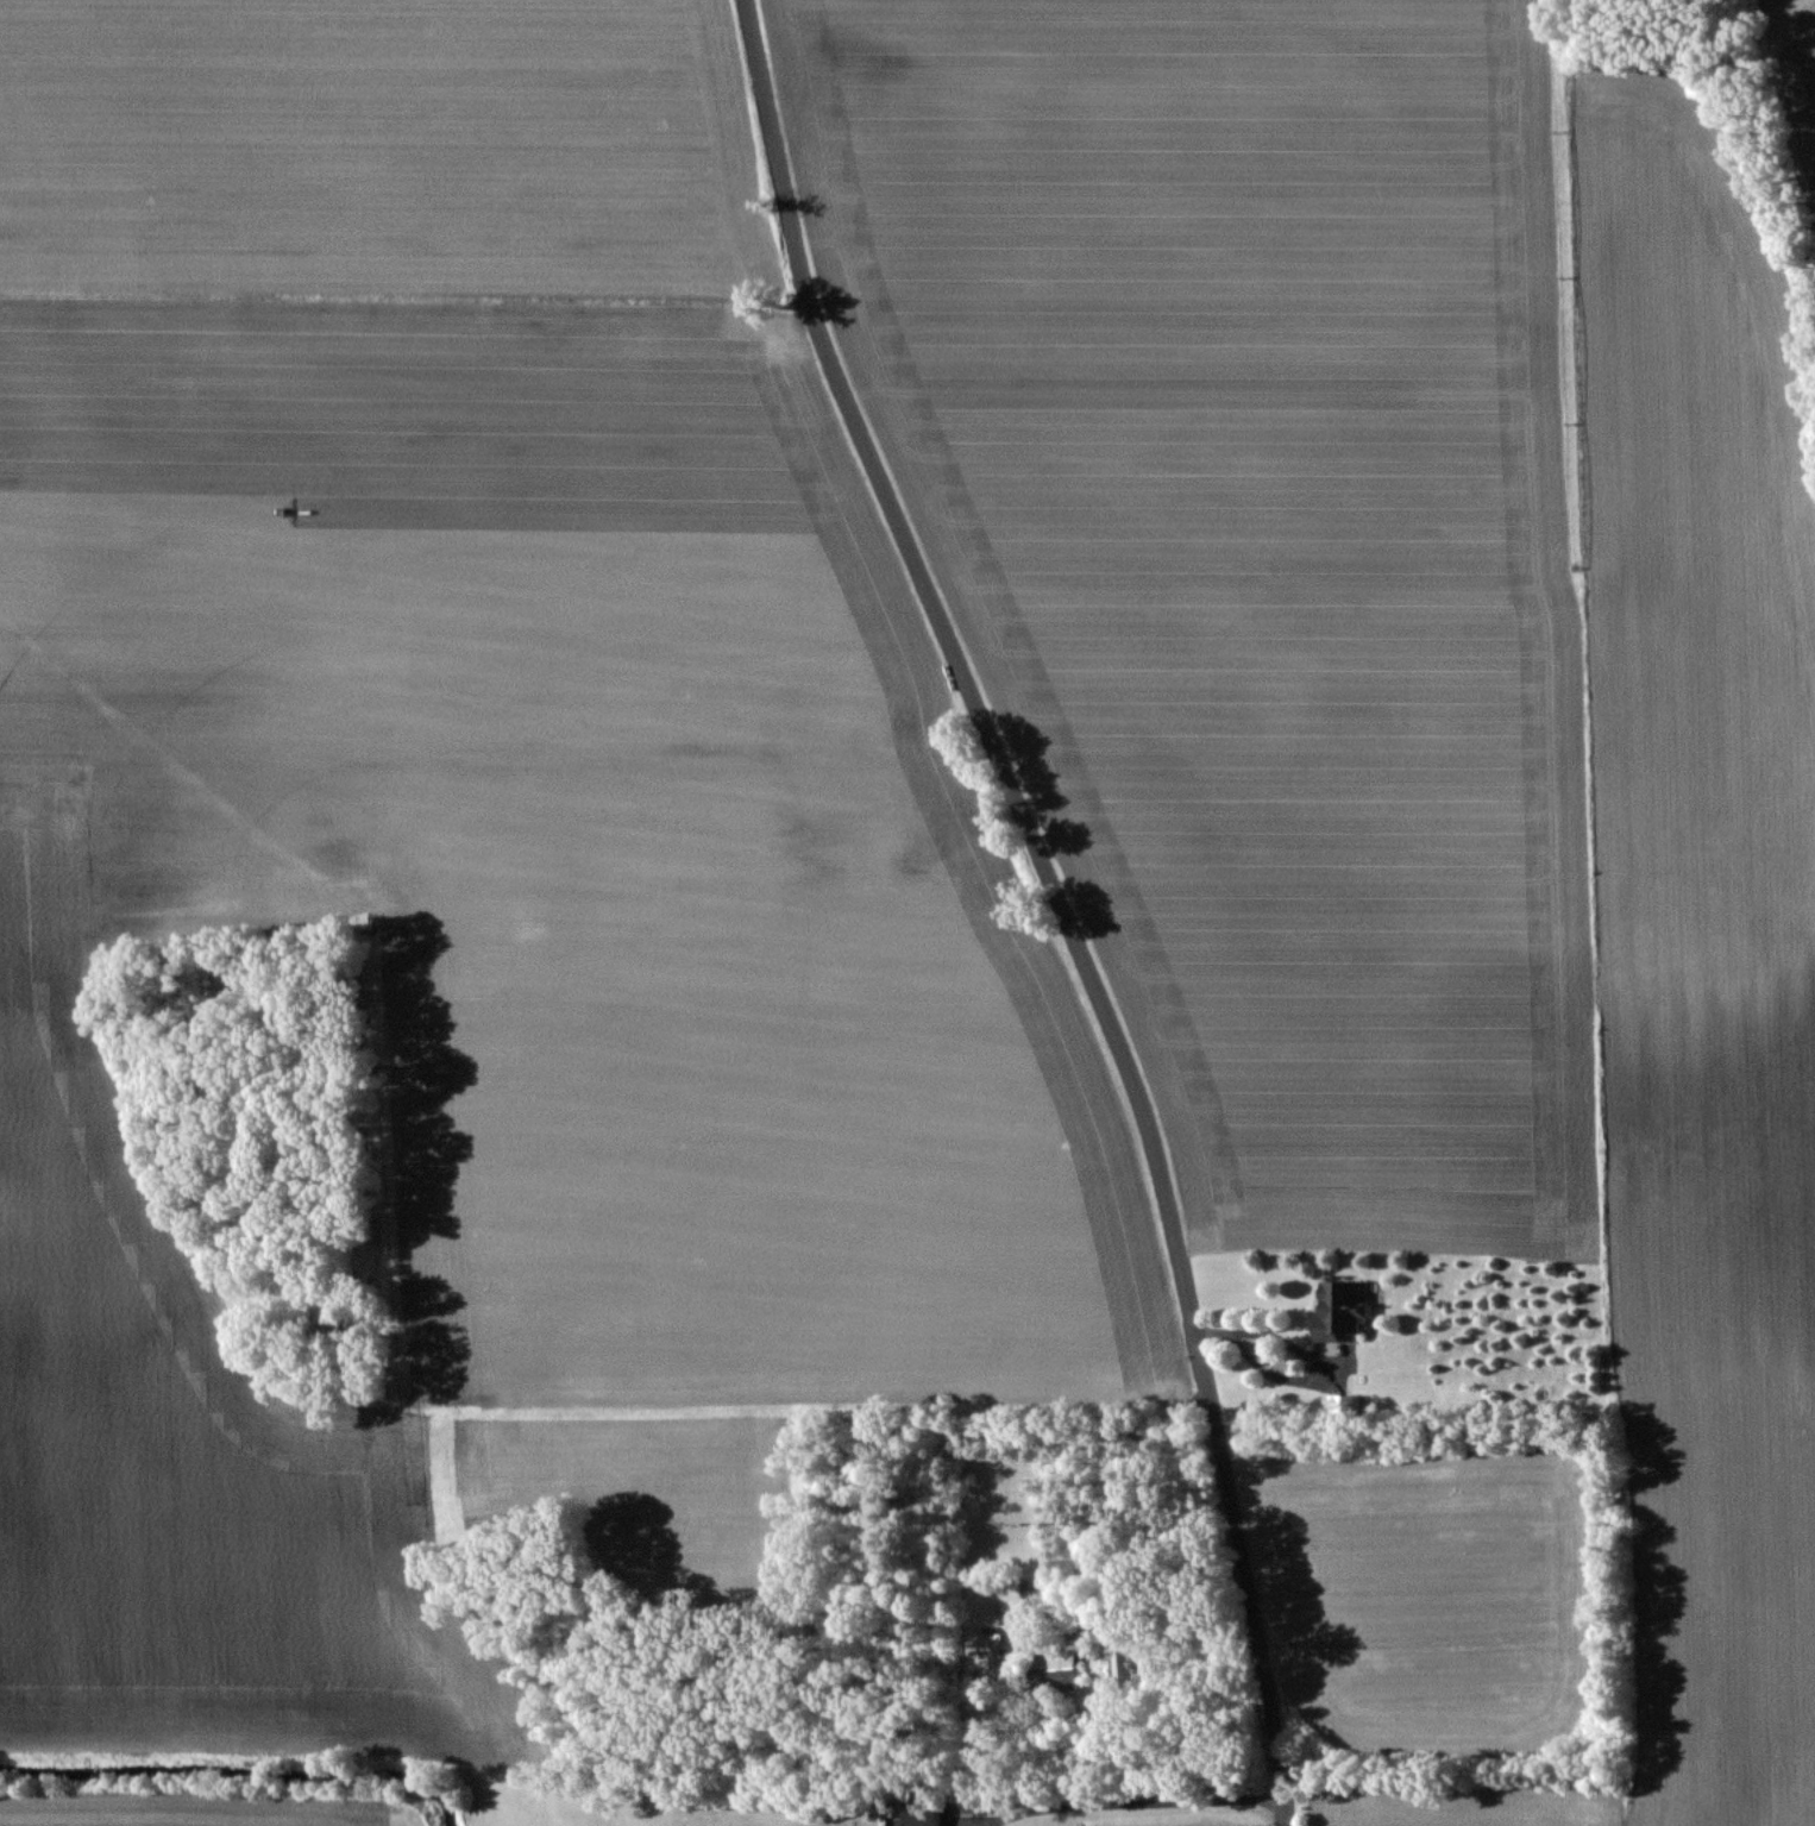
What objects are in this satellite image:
road: (1056, 901)
building: (1337, 1306)
road: (1252, 1332)
road: (1110, 1529)
building: (1064, 1659)
building: (1119, 1662)
road: (1133, 1802)
building: (918, 1813)

